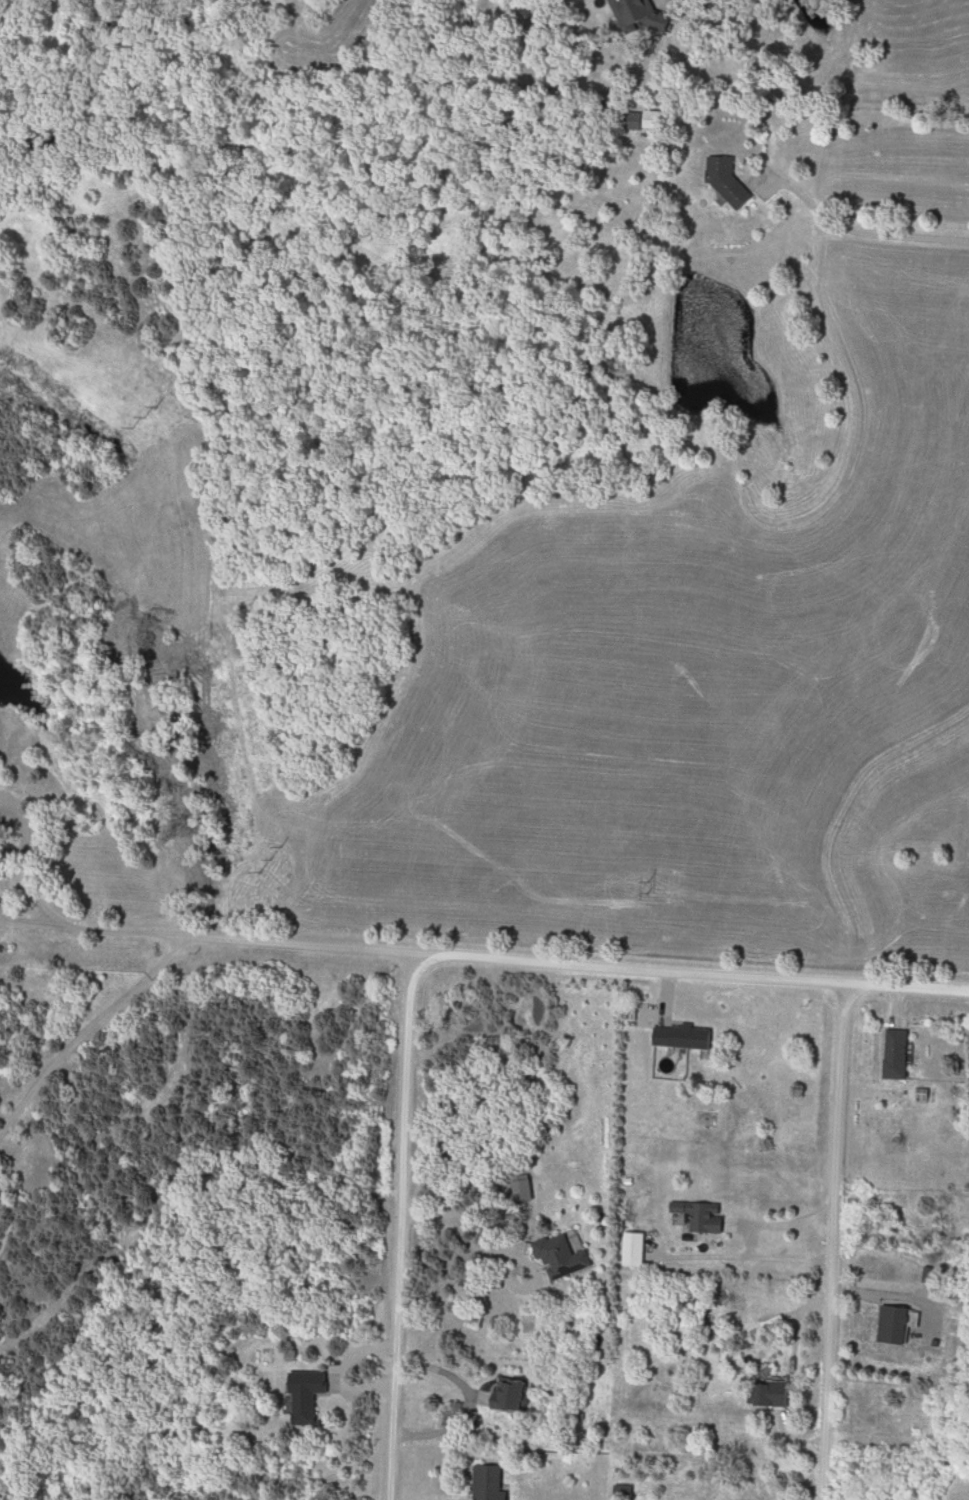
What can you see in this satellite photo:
road: (856, 232)
road: (27, 863)
road: (23, 924)
road: (507, 959)
road: (84, 1026)
building: (687, 1036)
building: (900, 1054)
building: (680, 1215)
road: (421, 1218)
road: (528, 1223)
road: (402, 1226)
road: (829, 1241)
road: (747, 1242)
building: (560, 1258)
building: (899, 1325)
road: (453, 1380)
building: (514, 1394)
building: (310, 1396)
building: (775, 1396)
building: (492, 1483)

